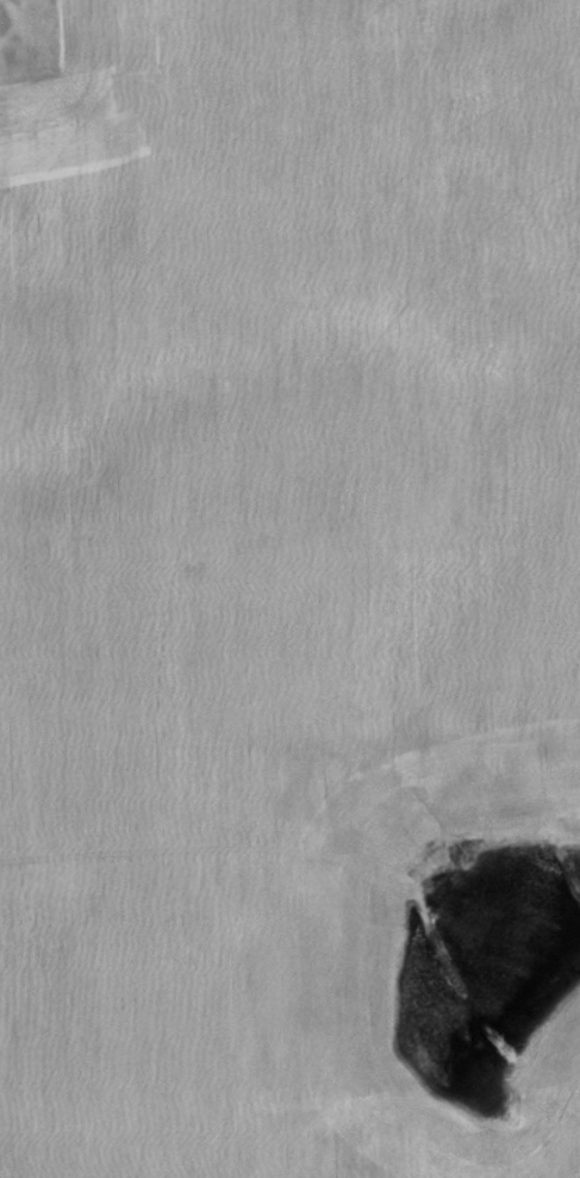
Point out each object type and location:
crop: (292, 593)

